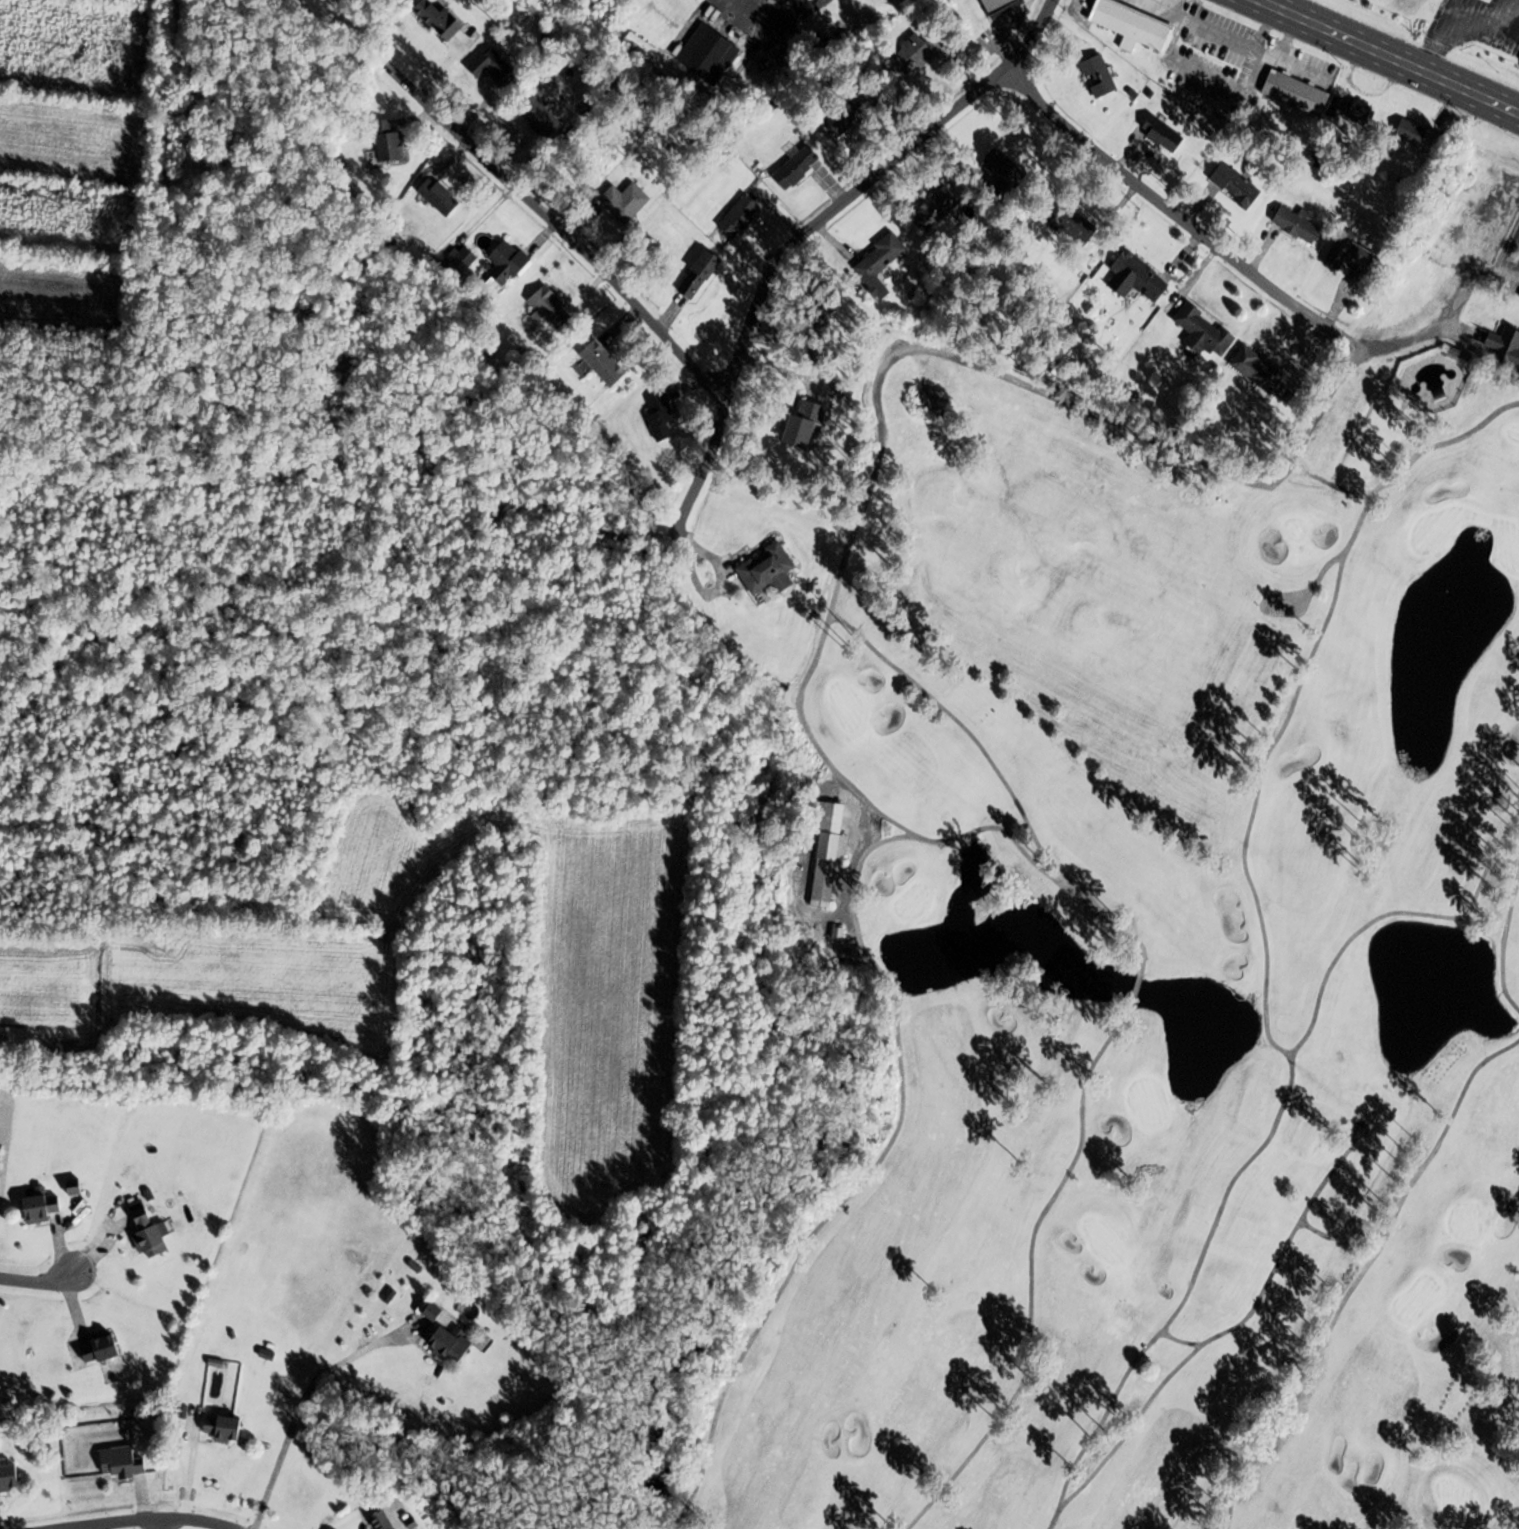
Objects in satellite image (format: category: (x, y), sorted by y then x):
building: (688, 3)
building: (1409, 4)
building: (1000, 6)
building: (441, 19)
building: (1133, 25)
building: (640, 47)
building: (921, 49)
building: (709, 54)
road: (1392, 54)
building: (494, 66)
building: (1099, 75)
building: (1296, 93)
building: (857, 109)
building: (1350, 109)
building: (541, 118)
building: (1411, 131)
building: (1164, 134)
building: (388, 141)
building: (797, 167)
building: (1237, 185)
building: (440, 196)
building: (631, 199)
building: (941, 205)
building: (740, 216)
road: (1183, 219)
building: (1071, 222)
building: (1297, 224)
road: (805, 230)
road: (571, 235)
building: (1350, 253)
building: (464, 257)
building: (508, 262)
building: (701, 274)
building: (1137, 276)
building: (550, 308)
building: (1205, 331)
park: (1504, 339)
road: (918, 346)
building: (1505, 349)
building: (604, 363)
building: (1258, 369)
building: (661, 416)
building: (806, 423)
building: (768, 572)
building: (827, 848)
building: (75, 1187)
building: (43, 1208)
building: (150, 1235)
road: (39, 1283)
building: (434, 1312)
building: (449, 1344)
building: (101, 1351)
road: (301, 1403)
building: (224, 1428)
building: (122, 1463)
building: (11, 1479)
road: (139, 1516)
road: (167, 1521)
building: (382, 1521)

